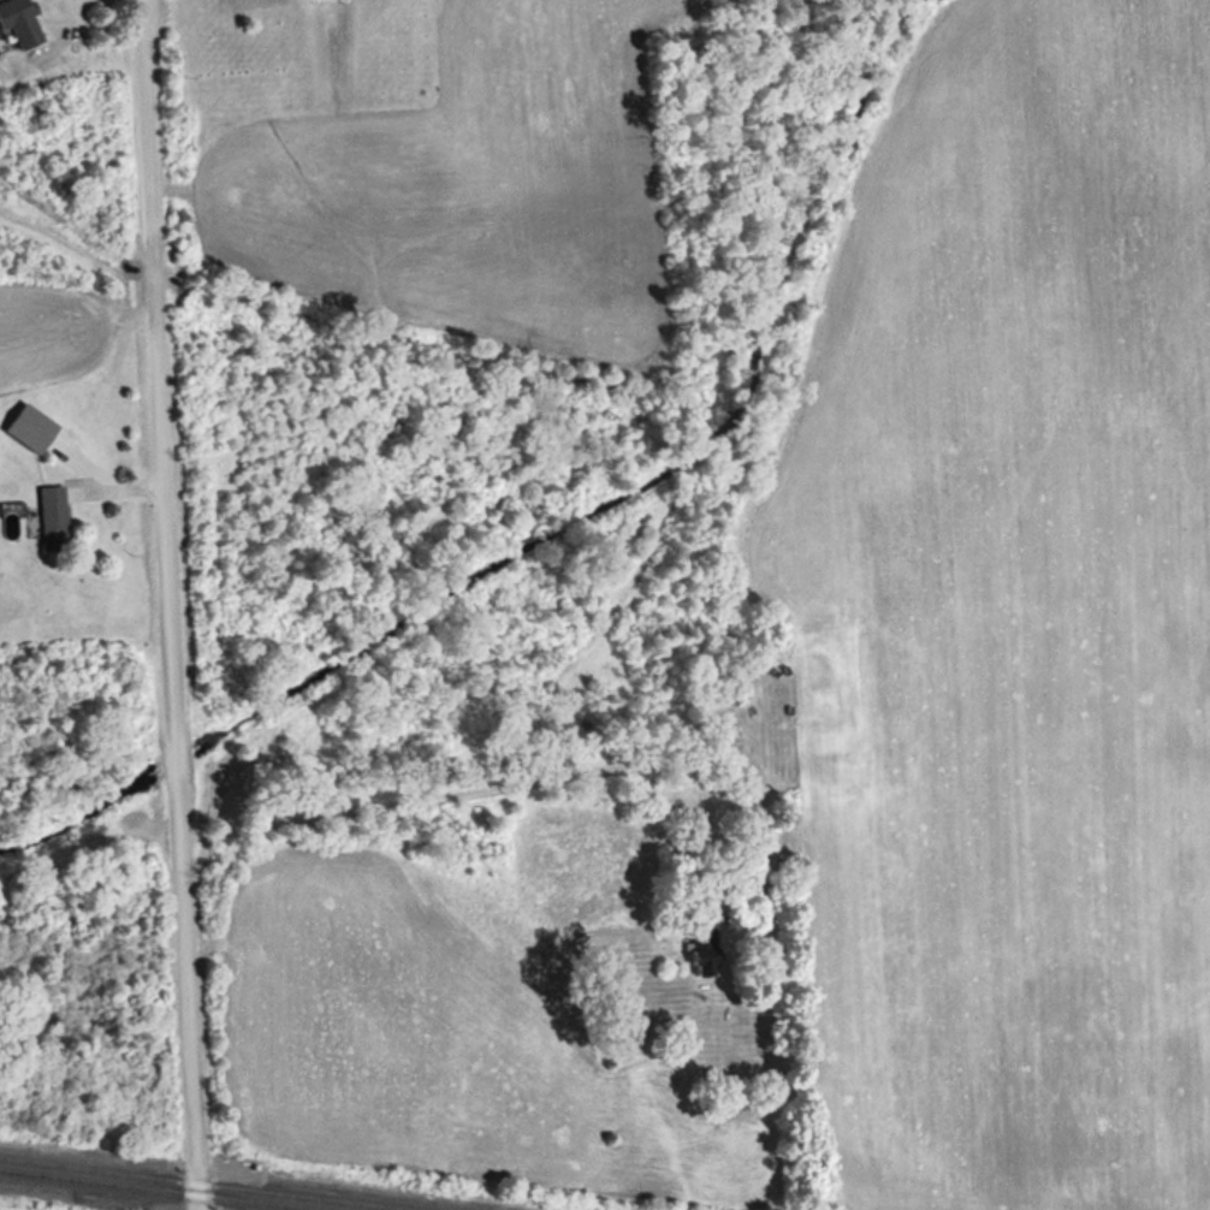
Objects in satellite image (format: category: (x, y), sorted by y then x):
building: (18, 25)
building: (53, 516)
road: (166, 604)
building: (702, 944)
railway: (201, 1184)
railway: (153, 1190)

